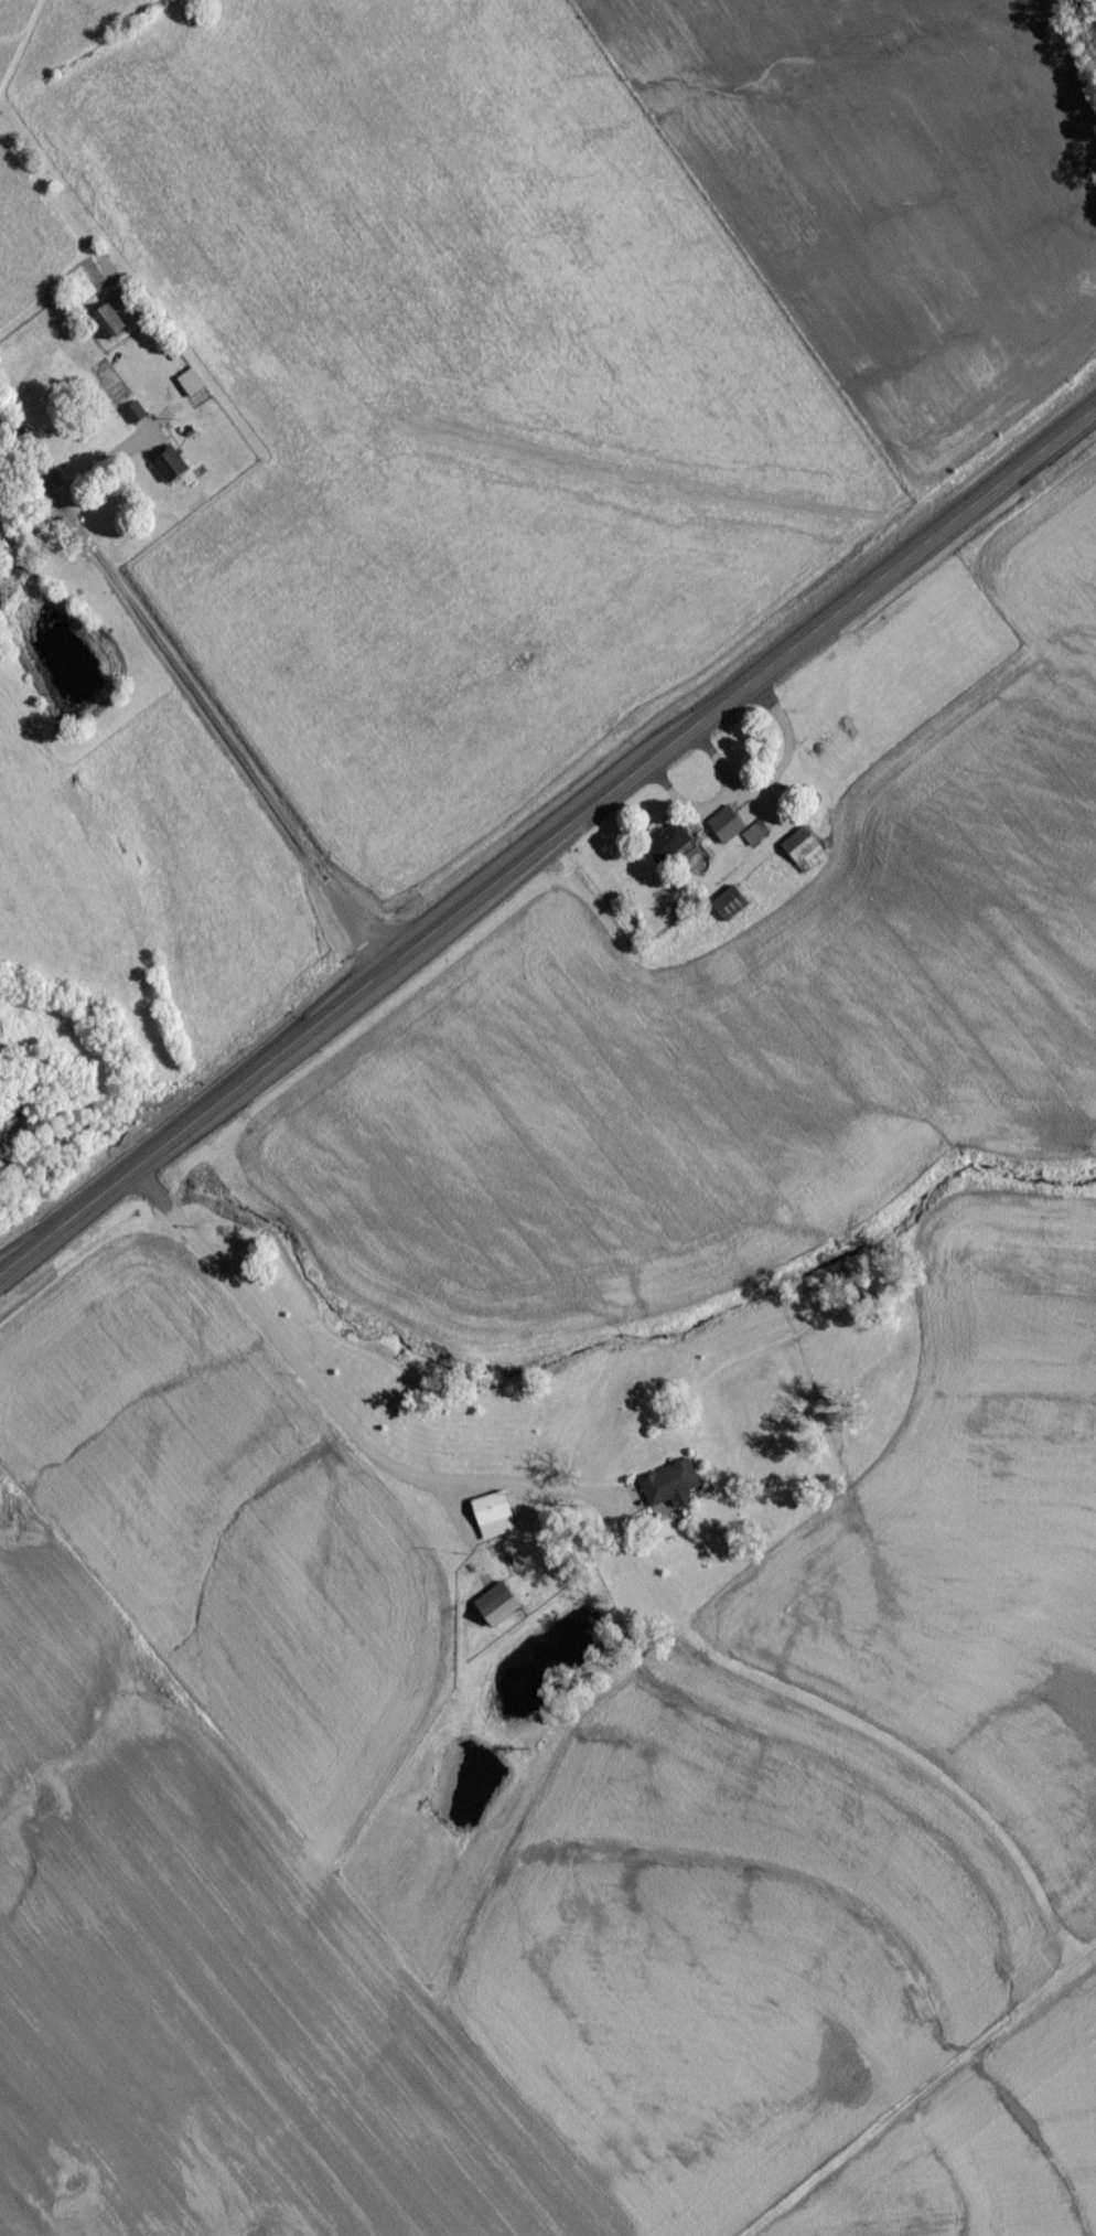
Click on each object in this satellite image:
building: (103, 327)
building: (185, 389)
building: (130, 419)
road: (104, 464)
building: (163, 472)
road: (195, 691)
building: (823, 750)
building: (720, 833)
building: (751, 841)
road: (548, 842)
building: (662, 847)
building: (799, 857)
building: (724, 911)
road: (318, 1391)
building: (663, 1493)
road: (594, 1494)
building: (487, 1522)
building: (491, 1613)

